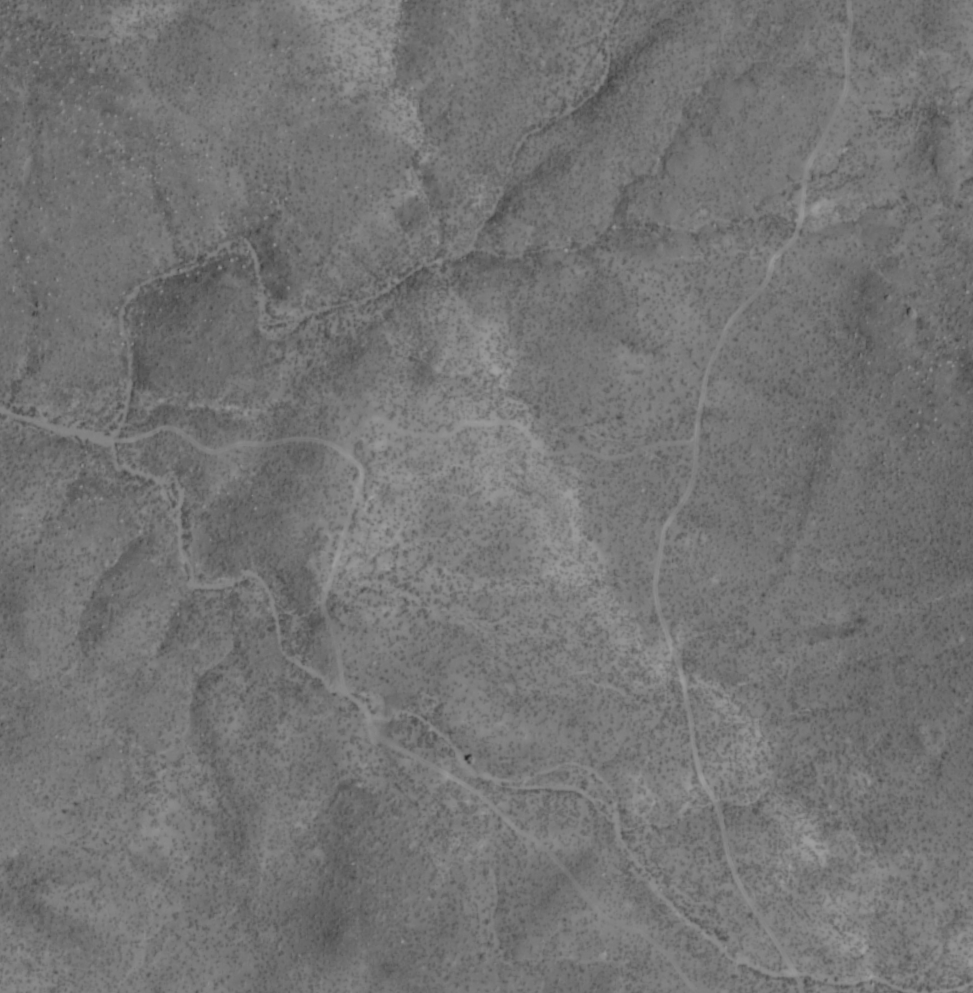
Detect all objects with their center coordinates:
road: (686, 494)

